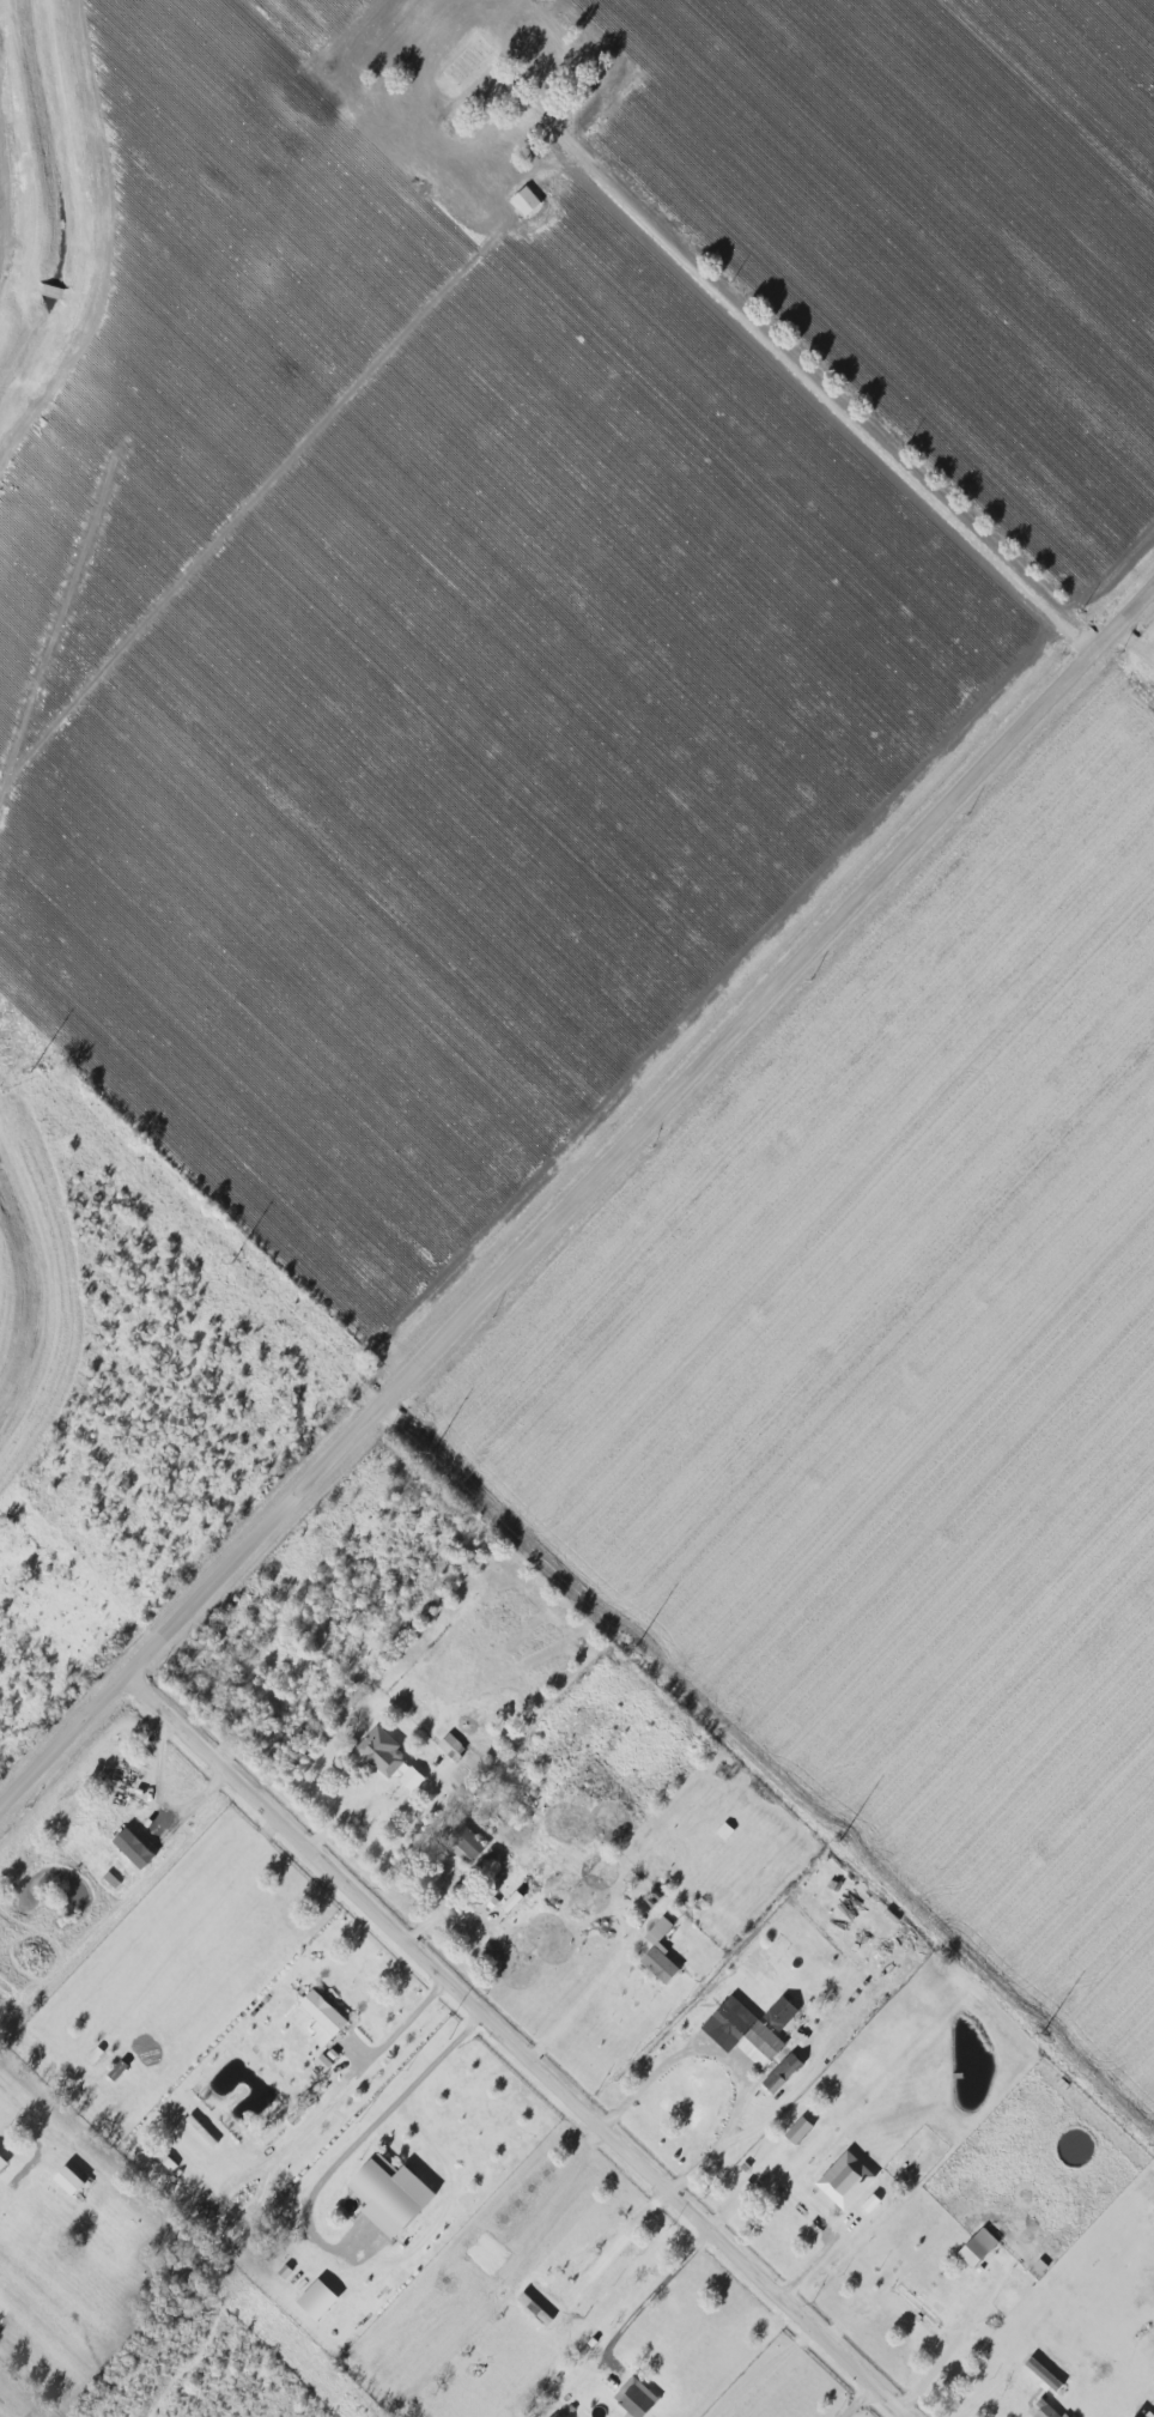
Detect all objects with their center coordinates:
building: (554, 61)
road: (582, 152)
building: (527, 201)
road: (577, 1204)
building: (451, 1747)
building: (390, 1758)
road: (772, 1759)
road: (158, 1794)
building: (467, 1842)
building: (136, 1847)
building: (521, 1896)
building: (661, 1952)
road: (587, 1993)
building: (782, 2012)
building: (324, 2017)
road: (401, 2024)
building: (745, 2031)
road: (522, 2046)
road: (729, 2056)
building: (323, 2064)
building: (783, 2072)
road: (379, 2118)
road: (30, 2121)
building: (800, 2130)
building: (848, 2180)
building: (71, 2181)
building: (393, 2194)
building: (979, 2247)
road: (657, 2289)
building: (320, 2300)
building: (918, 2304)
building: (1045, 2374)
building: (638, 2398)
road: (860, 2399)
building: (1046, 2411)
building: (1150, 2415)

